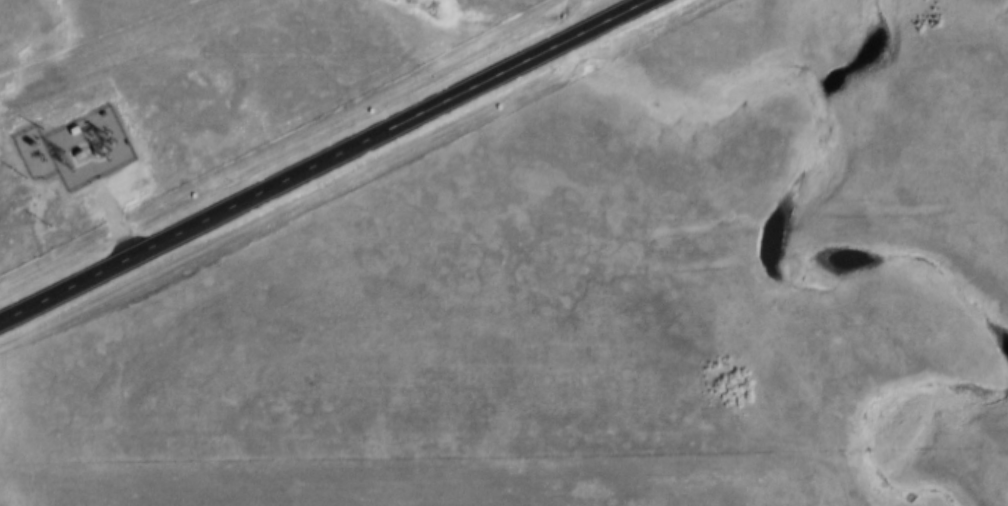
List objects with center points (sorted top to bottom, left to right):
power substation: (81, 140)
road: (326, 164)

